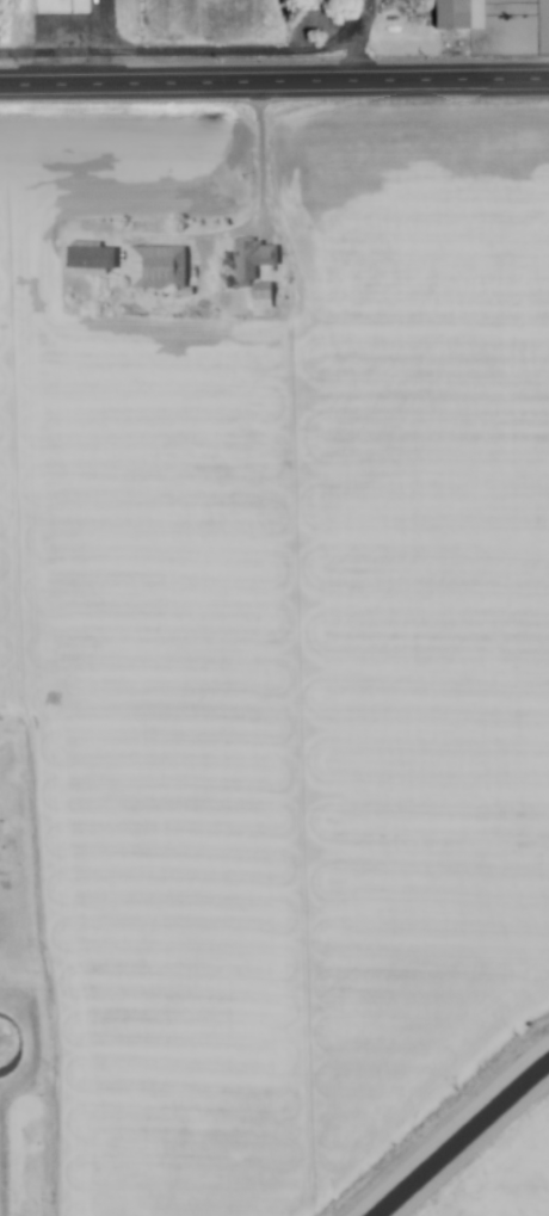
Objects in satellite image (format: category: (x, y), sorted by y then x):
building: (459, 16)
road: (357, 39)
road: (274, 79)
road: (257, 210)
building: (86, 257)
building: (155, 268)
building: (252, 271)
road: (471, 1149)

